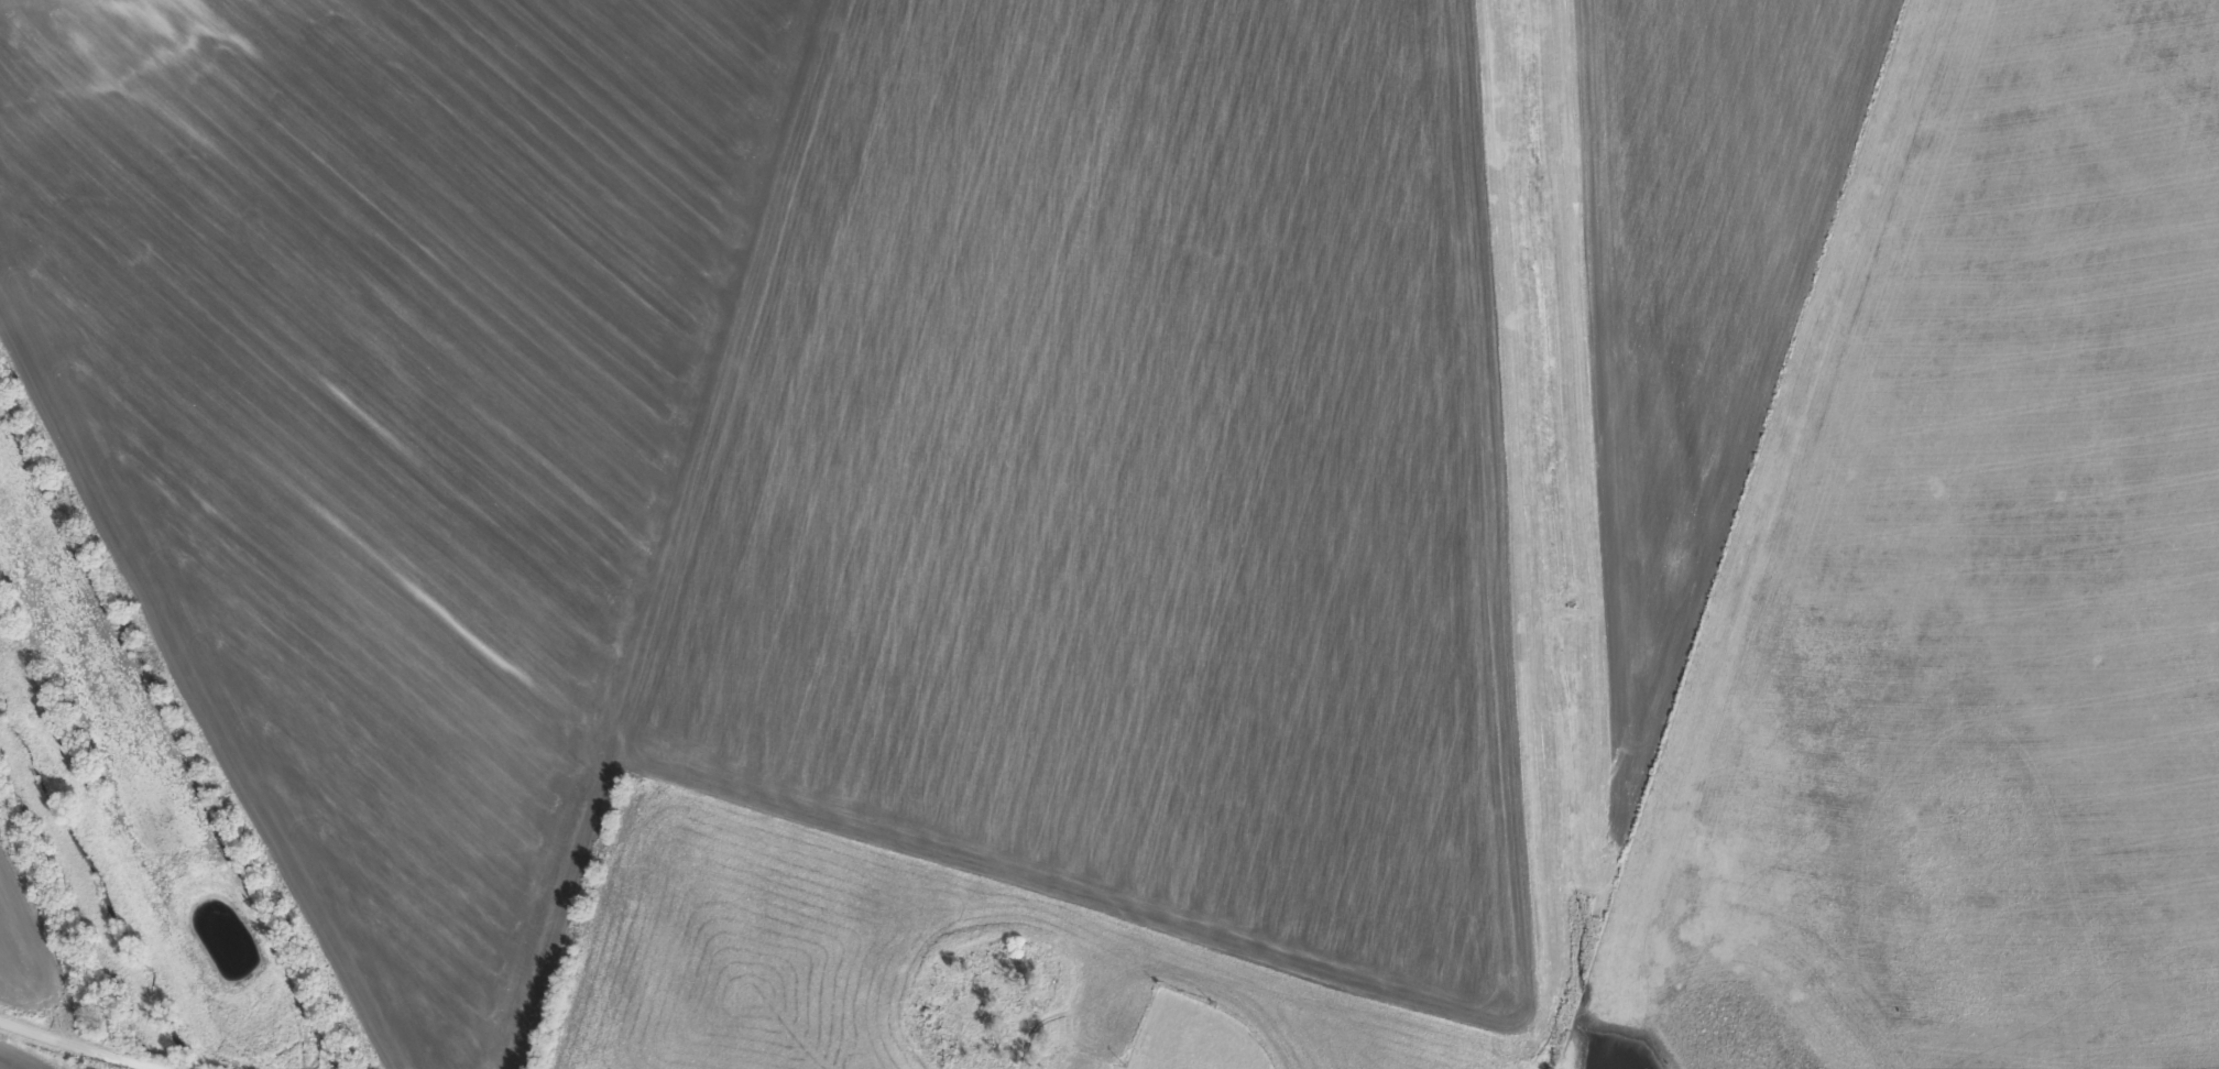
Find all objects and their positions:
road: (87, 1051)

